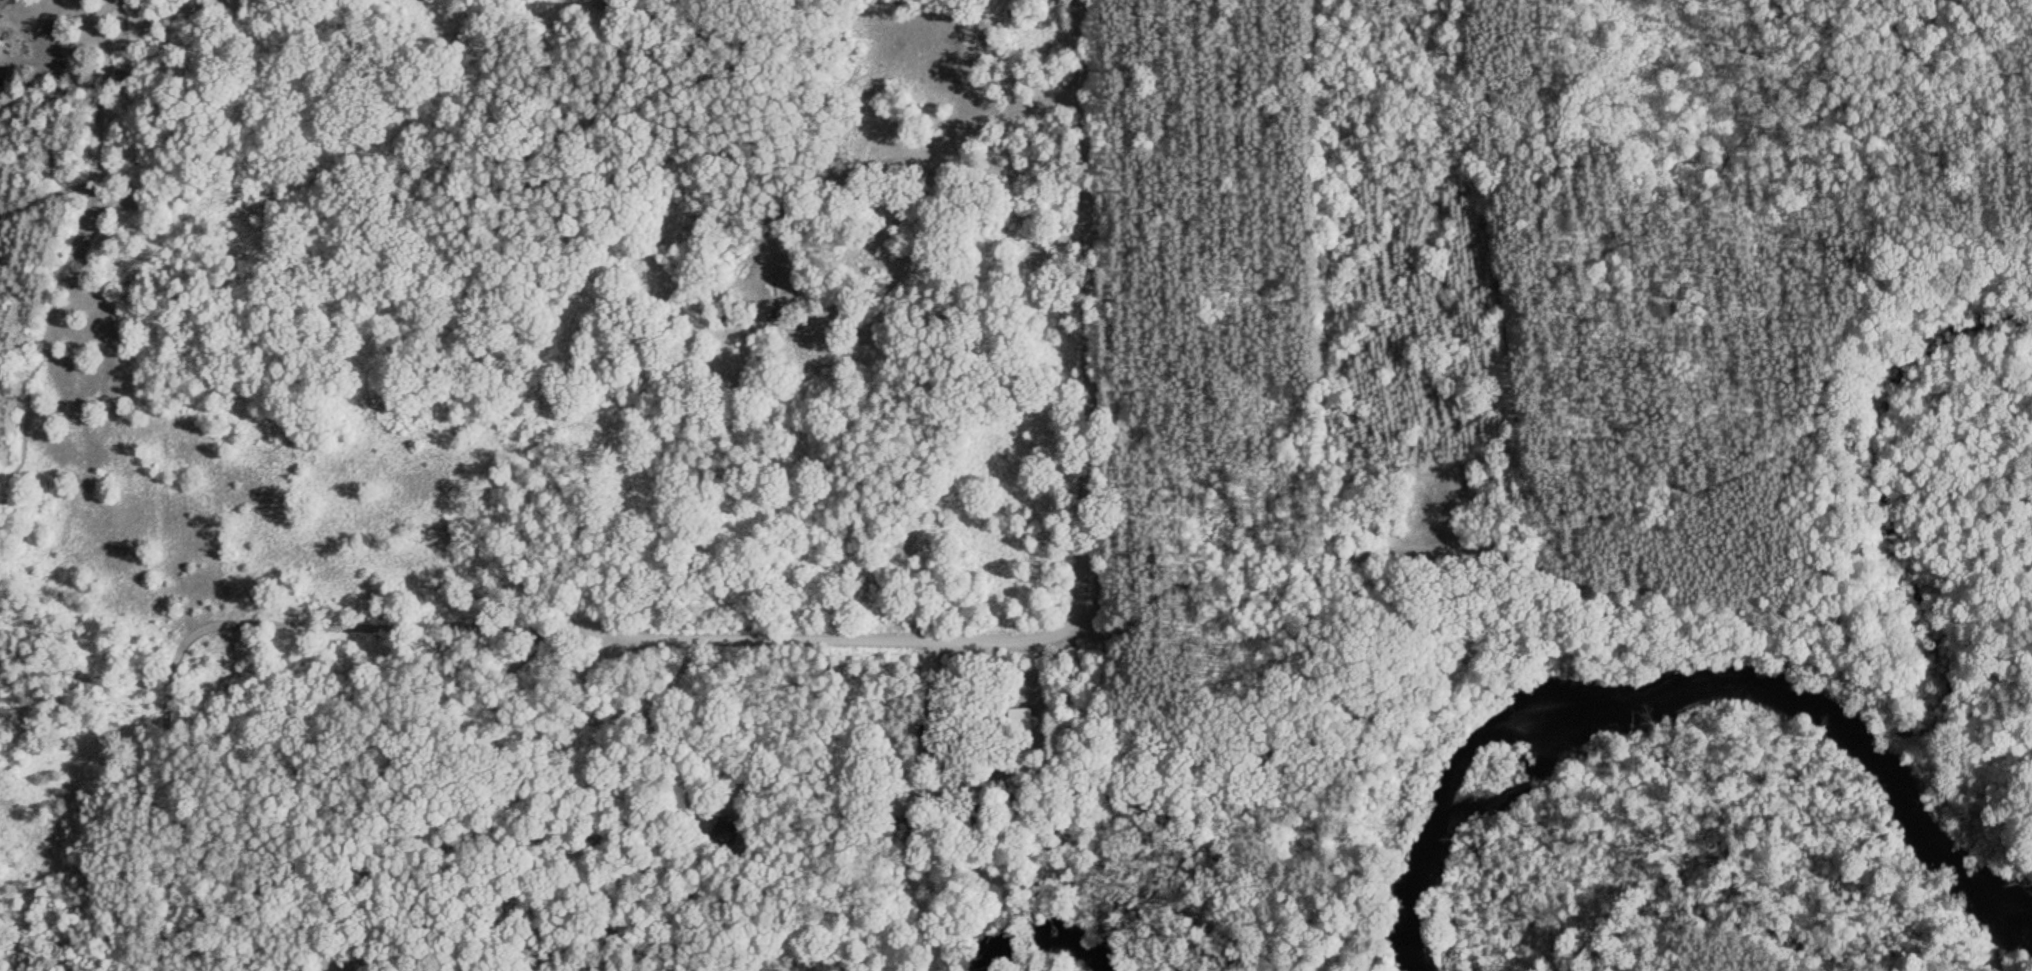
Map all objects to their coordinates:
building: (123, 71)
road: (1083, 314)
road: (880, 626)
river: (1679, 687)
building: (1020, 719)
river: (1039, 937)

